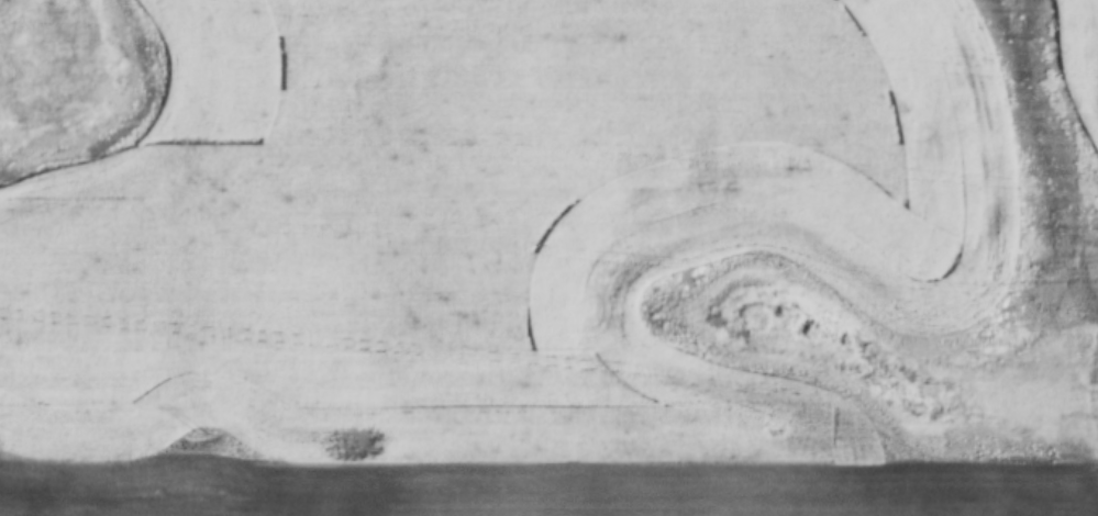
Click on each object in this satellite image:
power tower: (198, 428)

